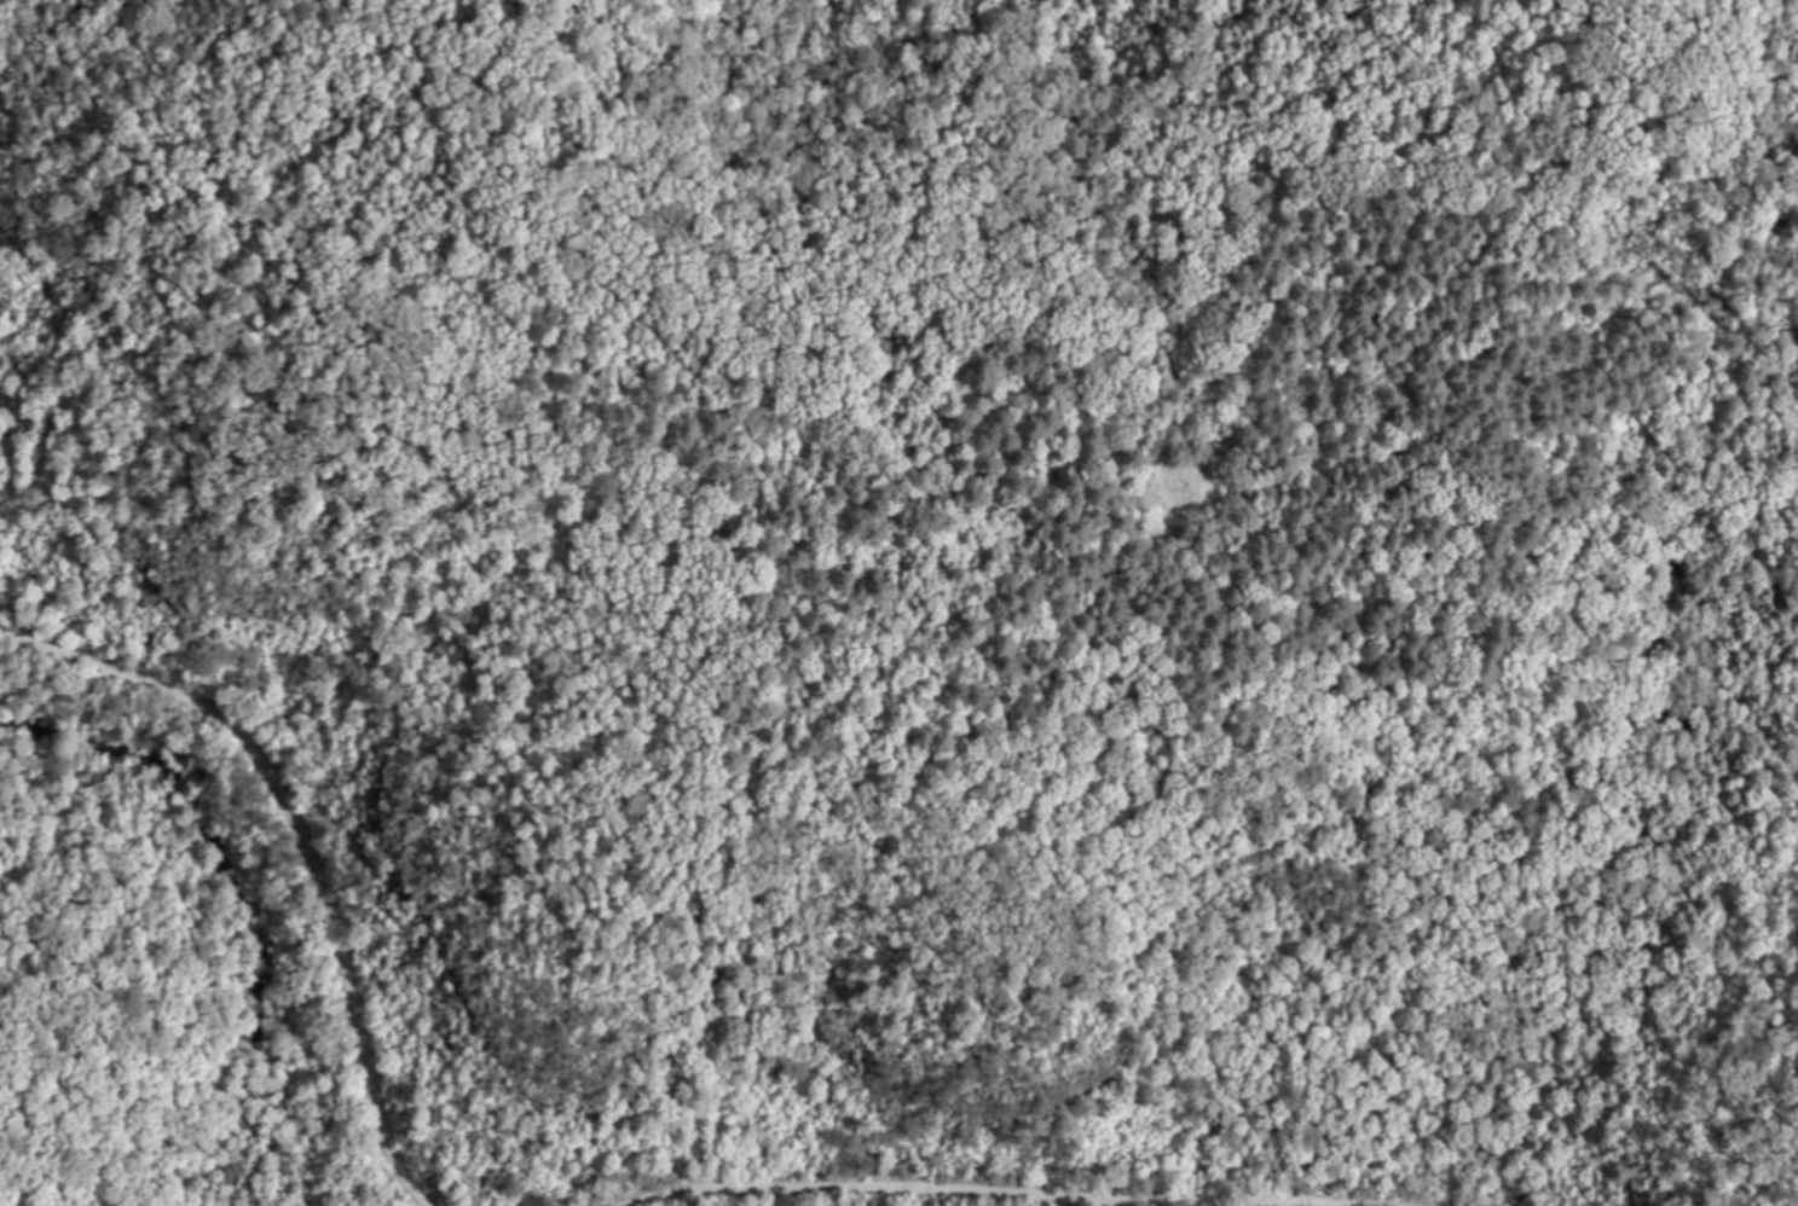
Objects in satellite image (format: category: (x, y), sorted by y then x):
road: (305, 839)
road: (218, 912)
road: (1005, 1189)

